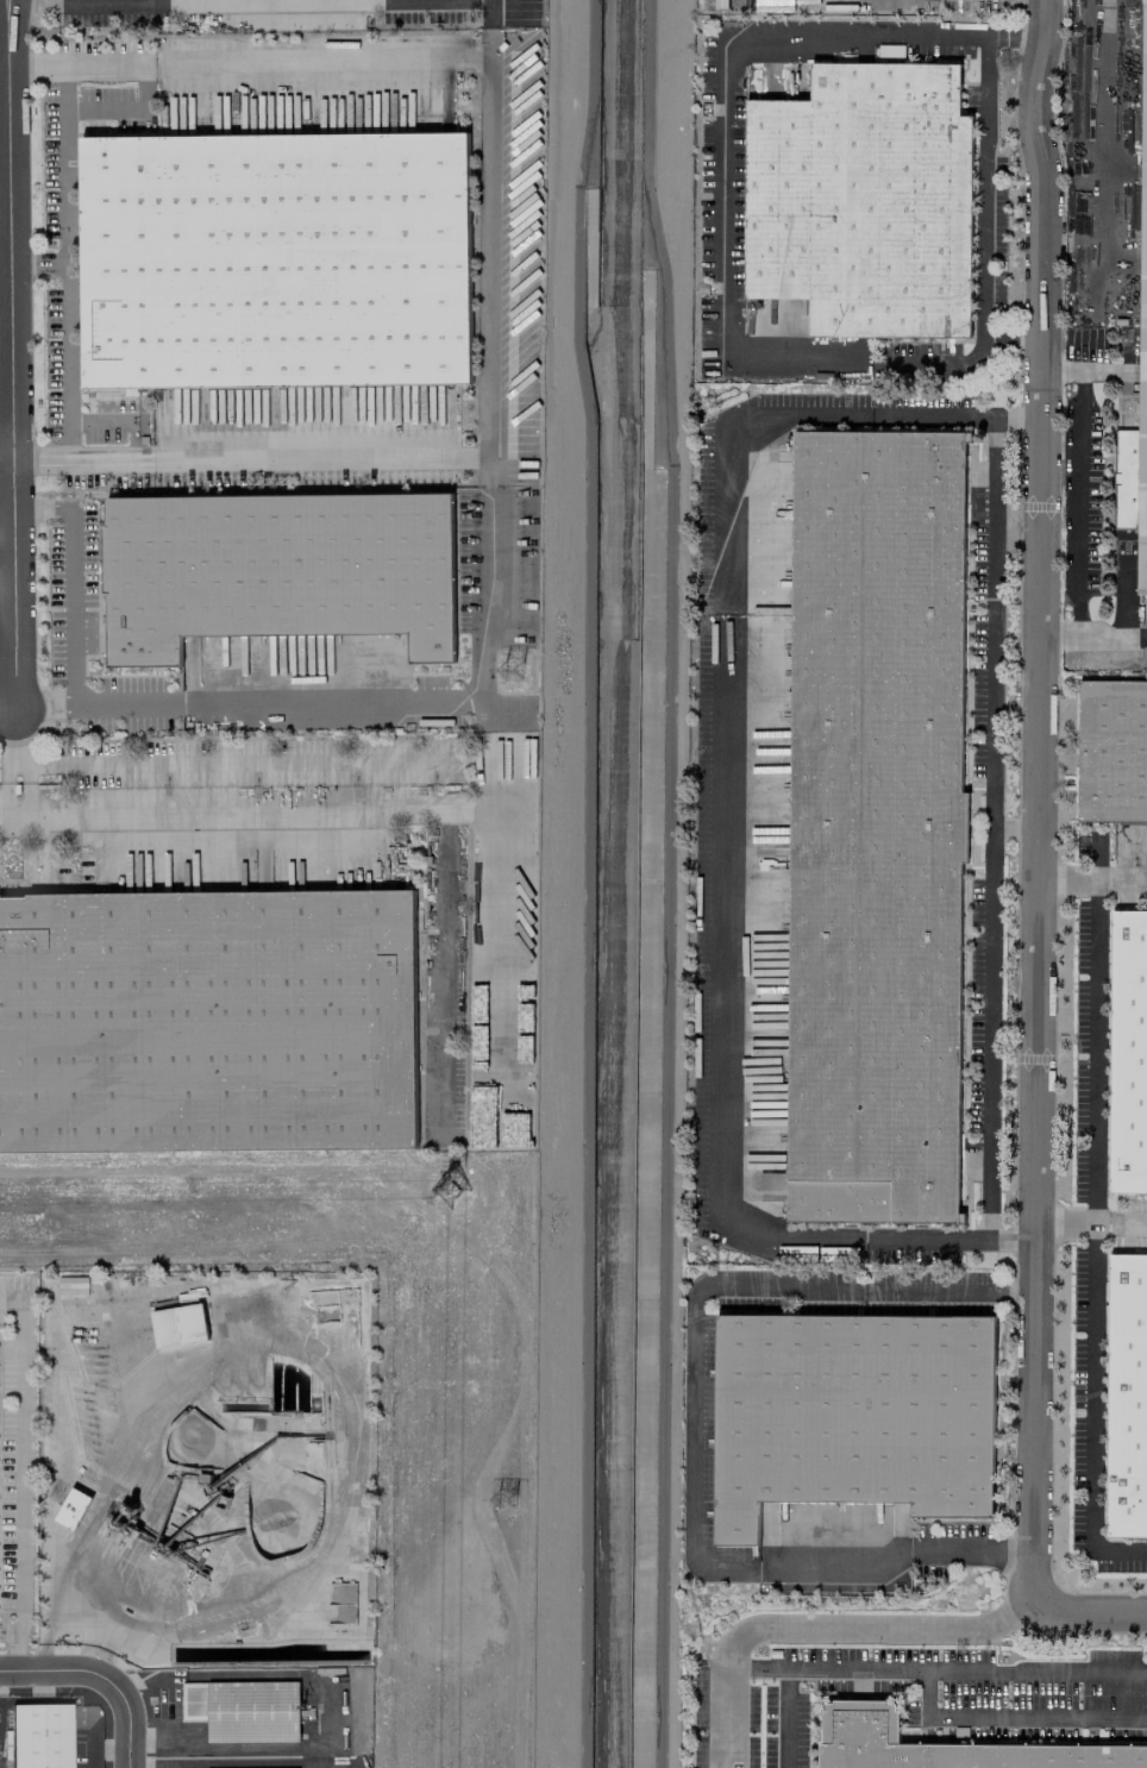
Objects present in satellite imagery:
road: (854, 32)
building: (890, 51)
road: (327, 59)
road: (1110, 119)
road: (983, 187)
road: (723, 199)
building: (864, 201)
road: (490, 231)
road: (65, 243)
building: (276, 255)
road: (38, 257)
road: (12, 353)
road: (860, 361)
building: (1137, 364)
road: (1060, 366)
road: (6, 428)
road: (483, 463)
road: (6, 481)
road: (1077, 484)
building: (276, 568)
road: (71, 577)
road: (1095, 635)
power tower: (524, 665)
road: (136, 702)
road: (7, 713)
building: (1111, 748)
road: (146, 763)
road: (17, 766)
road: (5, 786)
road: (25, 786)
road: (1041, 805)
road: (723, 814)
road: (15, 822)
road: (195, 823)
building: (873, 823)
road: (994, 826)
road: (1068, 877)
building: (206, 1027)
building: (1127, 1052)
building: (771, 1181)
power tower: (456, 1197)
road: (1093, 1215)
road: (1093, 1220)
road: (949, 1287)
building: (178, 1324)
road: (315, 1363)
road: (695, 1372)
building: (1126, 1396)
building: (851, 1413)
road: (17, 1481)
power tower: (518, 1500)
building: (71, 1507)
road: (973, 1548)
road: (836, 1567)
road: (115, 1587)
road: (1091, 1615)
road: (817, 1629)
road: (938, 1668)
road: (58, 1672)
building: (243, 1710)
road: (1013, 1714)
road: (788, 1716)
road: (131, 1724)
building: (45, 1736)
road: (90, 1741)
building: (947, 1745)
road: (228, 1767)

